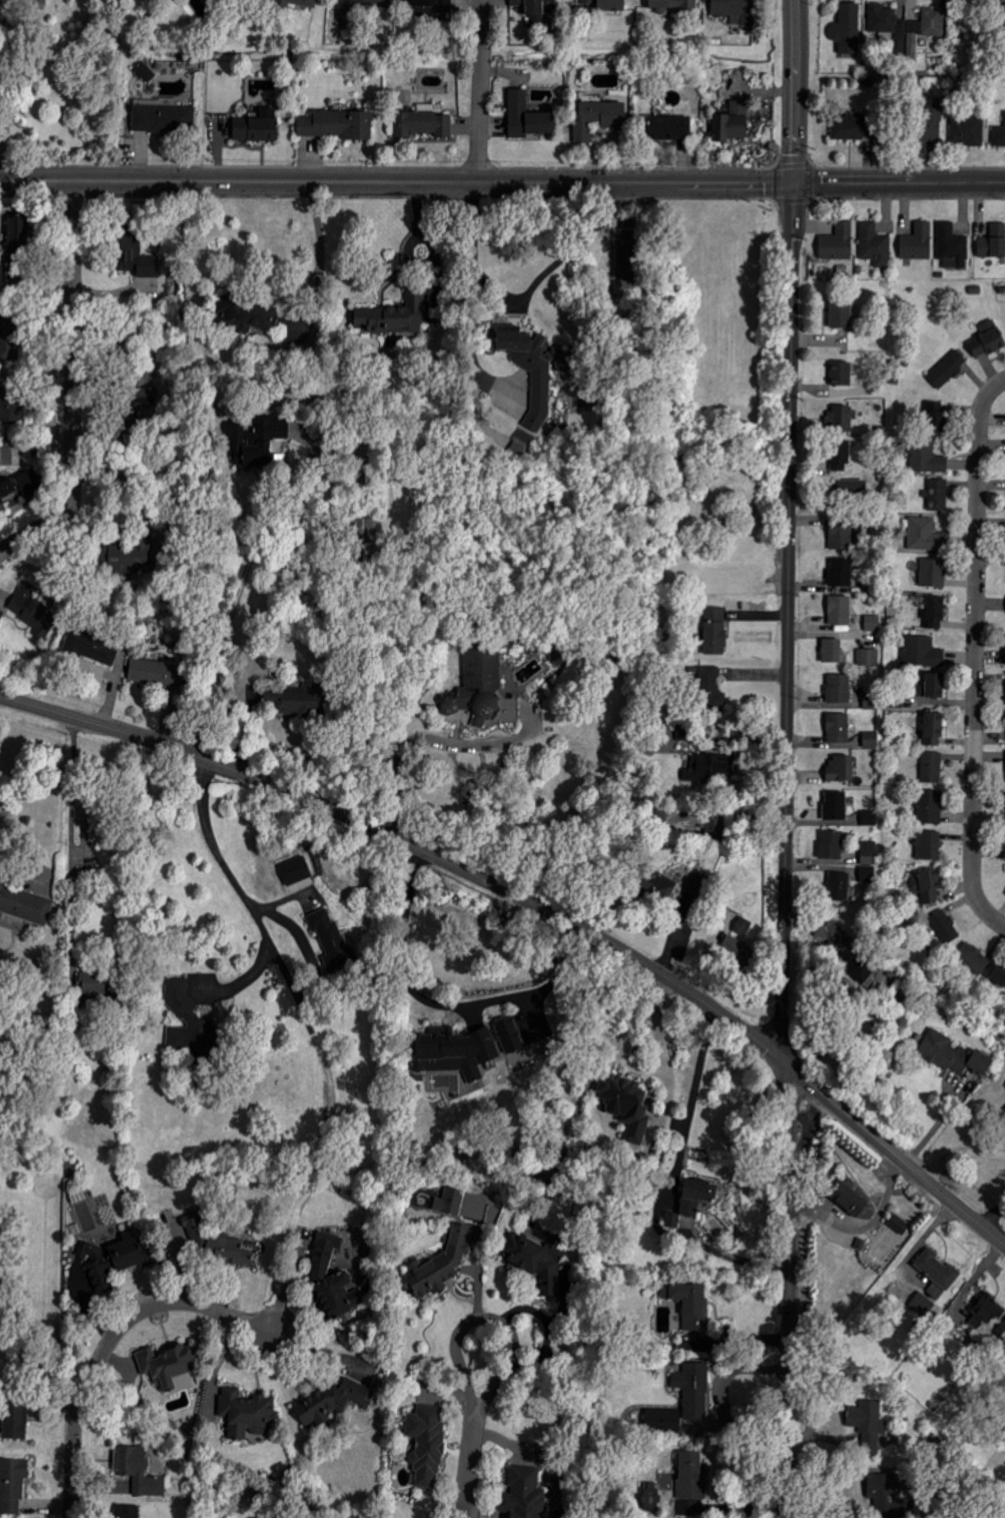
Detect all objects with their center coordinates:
building: (427, 4)
building: (673, 4)
building: (611, 5)
building: (536, 6)
building: (359, 8)
building: (735, 11)
building: (882, 18)
building: (848, 28)
building: (925, 29)
building: (146, 71)
road: (0, 74)
road: (480, 92)
road: (795, 92)
road: (1, 104)
building: (163, 116)
building: (527, 117)
building: (598, 118)
building: (423, 122)
building: (732, 122)
building: (932, 123)
building: (338, 124)
building: (257, 126)
building: (853, 126)
building: (670, 127)
building: (968, 131)
building: (1000, 137)
road: (396, 183)
road: (899, 184)
traffic signals: (793, 185)
road: (414, 209)
building: (18, 231)
building: (918, 242)
building: (993, 242)
building: (838, 243)
building: (875, 245)
building: (952, 246)
road: (317, 248)
building: (133, 251)
road: (414, 262)
road: (432, 275)
road: (521, 292)
building: (841, 313)
building: (243, 314)
building: (394, 317)
building: (8, 340)
building: (988, 340)
building: (534, 367)
building: (948, 369)
building: (843, 375)
building: (7, 378)
road: (1000, 384)
road: (73, 387)
building: (9, 409)
building: (132, 410)
building: (936, 417)
building: (840, 419)
building: (256, 441)
building: (839, 456)
building: (926, 458)
building: (852, 488)
building: (19, 489)
building: (938, 495)
building: (366, 530)
building: (840, 534)
building: (926, 535)
building: (130, 557)
building: (933, 572)
building: (841, 573)
road: (235, 597)
building: (32, 608)
building: (839, 610)
building: (935, 612)
road: (789, 620)
building: (873, 623)
building: (715, 631)
road: (975, 643)
building: (90, 647)
building: (556, 651)
building: (833, 652)
building: (921, 652)
building: (868, 657)
building: (155, 672)
building: (711, 685)
building: (932, 687)
building: (838, 690)
building: (481, 694)
building: (298, 700)
building: (871, 701)
building: (838, 728)
building: (933, 729)
building: (871, 740)
road: (394, 766)
building: (710, 767)
building: (931, 767)
building: (840, 769)
building: (835, 807)
building: (931, 807)
building: (89, 818)
building: (869, 818)
building: (714, 828)
road: (403, 843)
building: (831, 845)
road: (68, 846)
building: (929, 846)
road: (26, 850)
building: (869, 853)
building: (698, 884)
building: (662, 886)
building: (838, 886)
building: (928, 887)
building: (25, 905)
road: (990, 916)
building: (945, 928)
building: (747, 929)
building: (838, 935)
building: (332, 940)
road: (273, 950)
building: (737, 951)
building: (974, 958)
road: (560, 970)
building: (998, 979)
building: (93, 984)
building: (190, 1023)
road: (655, 1023)
building: (463, 1047)
building: (953, 1056)
road: (690, 1102)
building: (627, 1107)
building: (1003, 1115)
road: (933, 1123)
road: (890, 1151)
road: (959, 1154)
building: (697, 1196)
building: (849, 1199)
building: (450, 1203)
building: (897, 1225)
building: (194, 1231)
building: (230, 1251)
building: (112, 1261)
building: (537, 1262)
building: (439, 1266)
building: (938, 1270)
building: (333, 1279)
road: (790, 1292)
building: (690, 1304)
building: (923, 1304)
building: (989, 1310)
road: (480, 1319)
road: (110, 1342)
building: (169, 1368)
building: (694, 1390)
building: (327, 1404)
building: (246, 1413)
building: (15, 1420)
building: (674, 1420)
building: (869, 1424)
building: (427, 1446)
building: (132, 1462)
road: (471, 1465)
building: (691, 1475)
building: (13, 1484)
building: (524, 1494)
building: (651, 1495)
building: (888, 1497)
building: (128, 1511)

